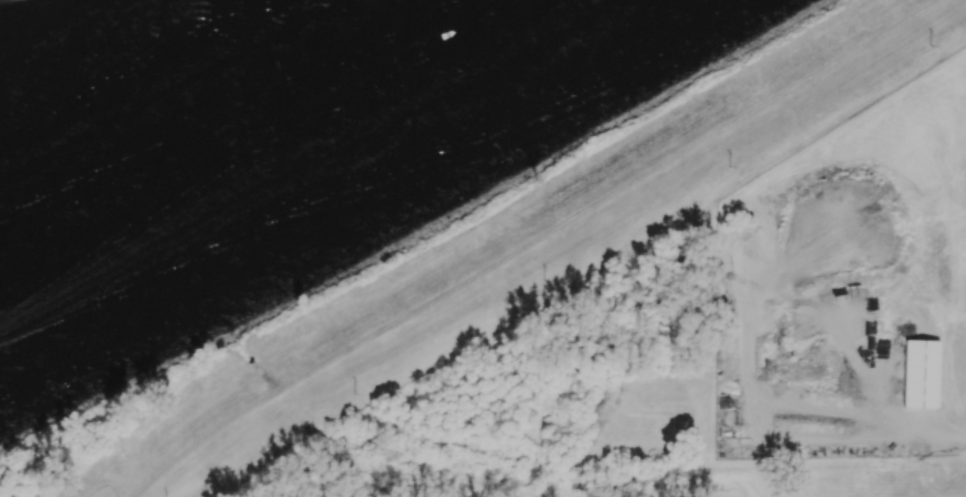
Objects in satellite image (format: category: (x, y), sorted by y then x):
river: (232, 123)
building: (920, 374)
road: (263, 399)

